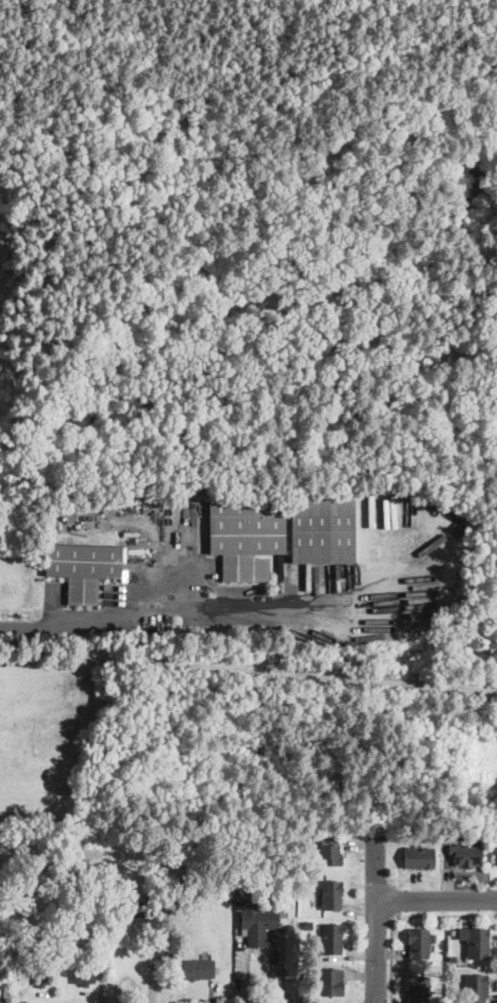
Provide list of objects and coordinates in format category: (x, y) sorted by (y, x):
building: (142, 497)
building: (322, 529)
building: (246, 534)
building: (84, 569)
road: (167, 614)
building: (329, 849)
building: (465, 854)
building: (418, 857)
building: (332, 894)
road: (436, 899)
building: (139, 907)
road: (402, 914)
road: (375, 915)
building: (256, 919)
building: (331, 938)
building: (419, 941)
building: (477, 942)
building: (198, 968)
building: (40, 974)
building: (84, 974)
building: (332, 980)
building: (418, 988)
building: (477, 988)

